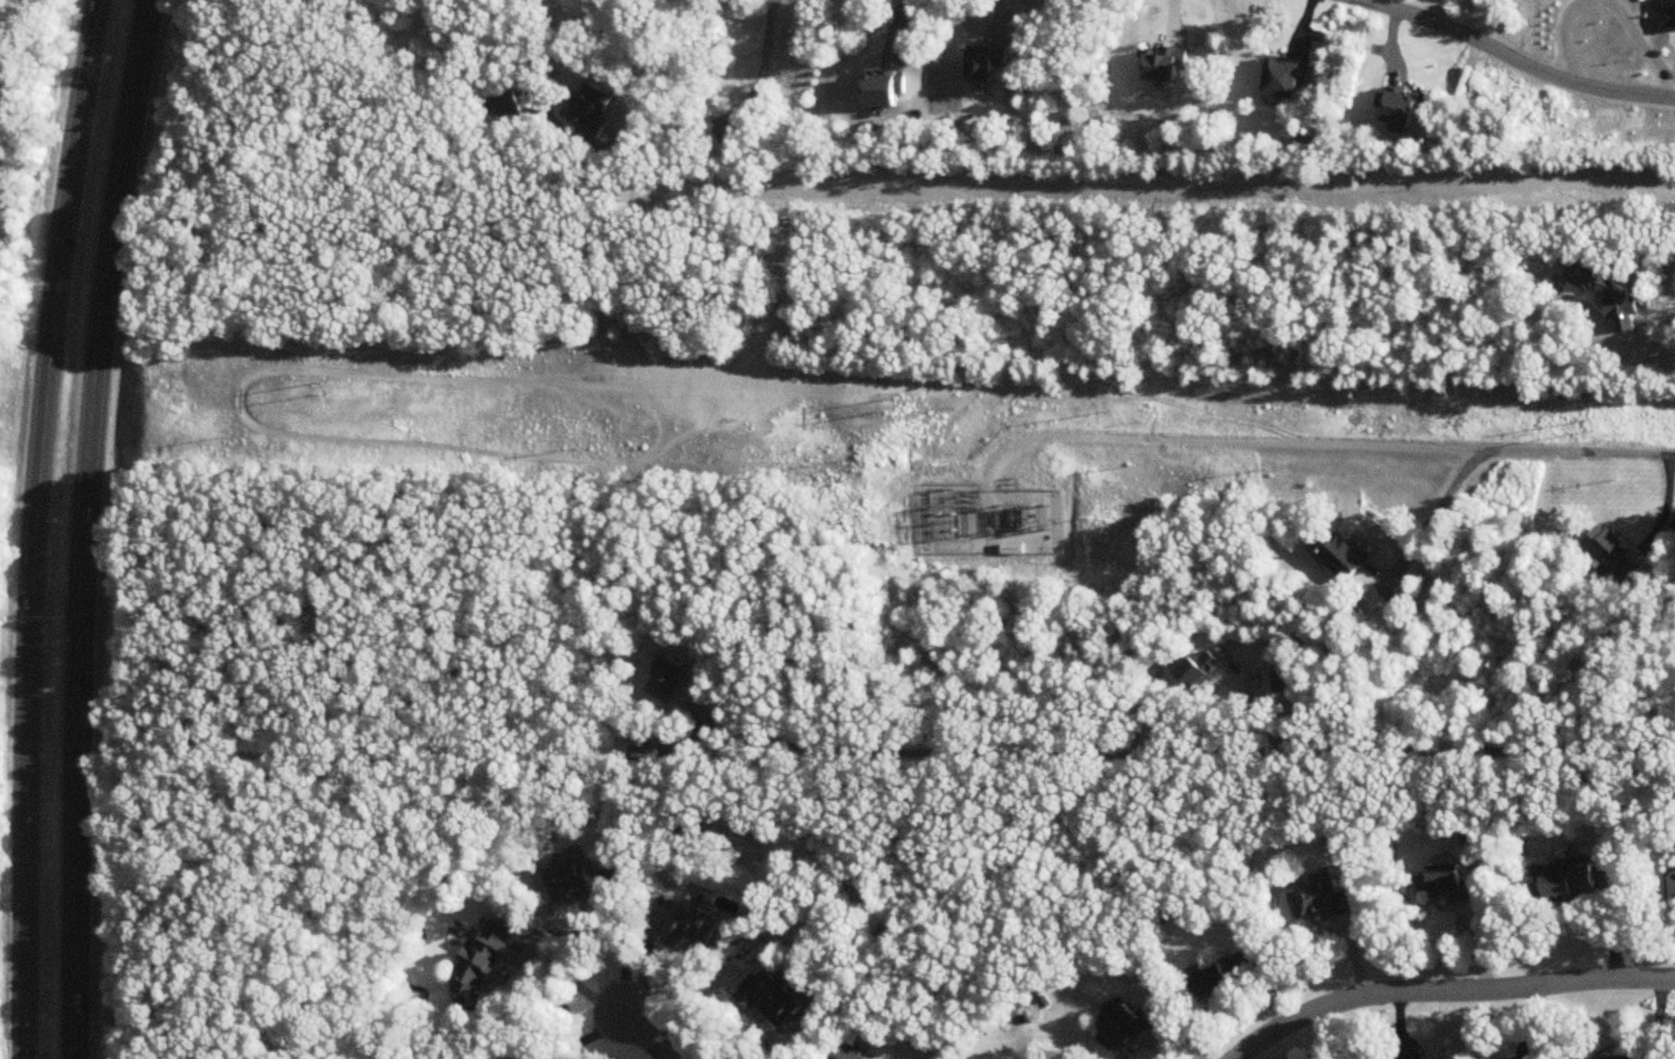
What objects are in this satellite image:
road: (1515, 60)
road: (737, 110)
building: (594, 112)
power tower: (321, 381)
power tower: (889, 401)
power tower: (1576, 423)
road: (1328, 439)
road: (1440, 506)
road: (1665, 509)
road: (33, 527)
road: (91, 527)
building: (1013, 550)
building: (1342, 554)
building: (1612, 556)
building: (1201, 669)
building: (670, 679)
building: (644, 740)
road: (1193, 755)
building: (570, 881)
building: (1568, 883)
building: (1452, 885)
building: (1673, 885)
building: (1322, 902)
building: (691, 927)
road: (624, 954)
building: (481, 965)
building: (1222, 979)
road: (579, 986)
road: (1449, 988)
building: (771, 1001)
building: (1128, 1029)
road: (584, 1037)
road: (652, 1039)
building: (848, 1055)
building: (1626, 1058)

